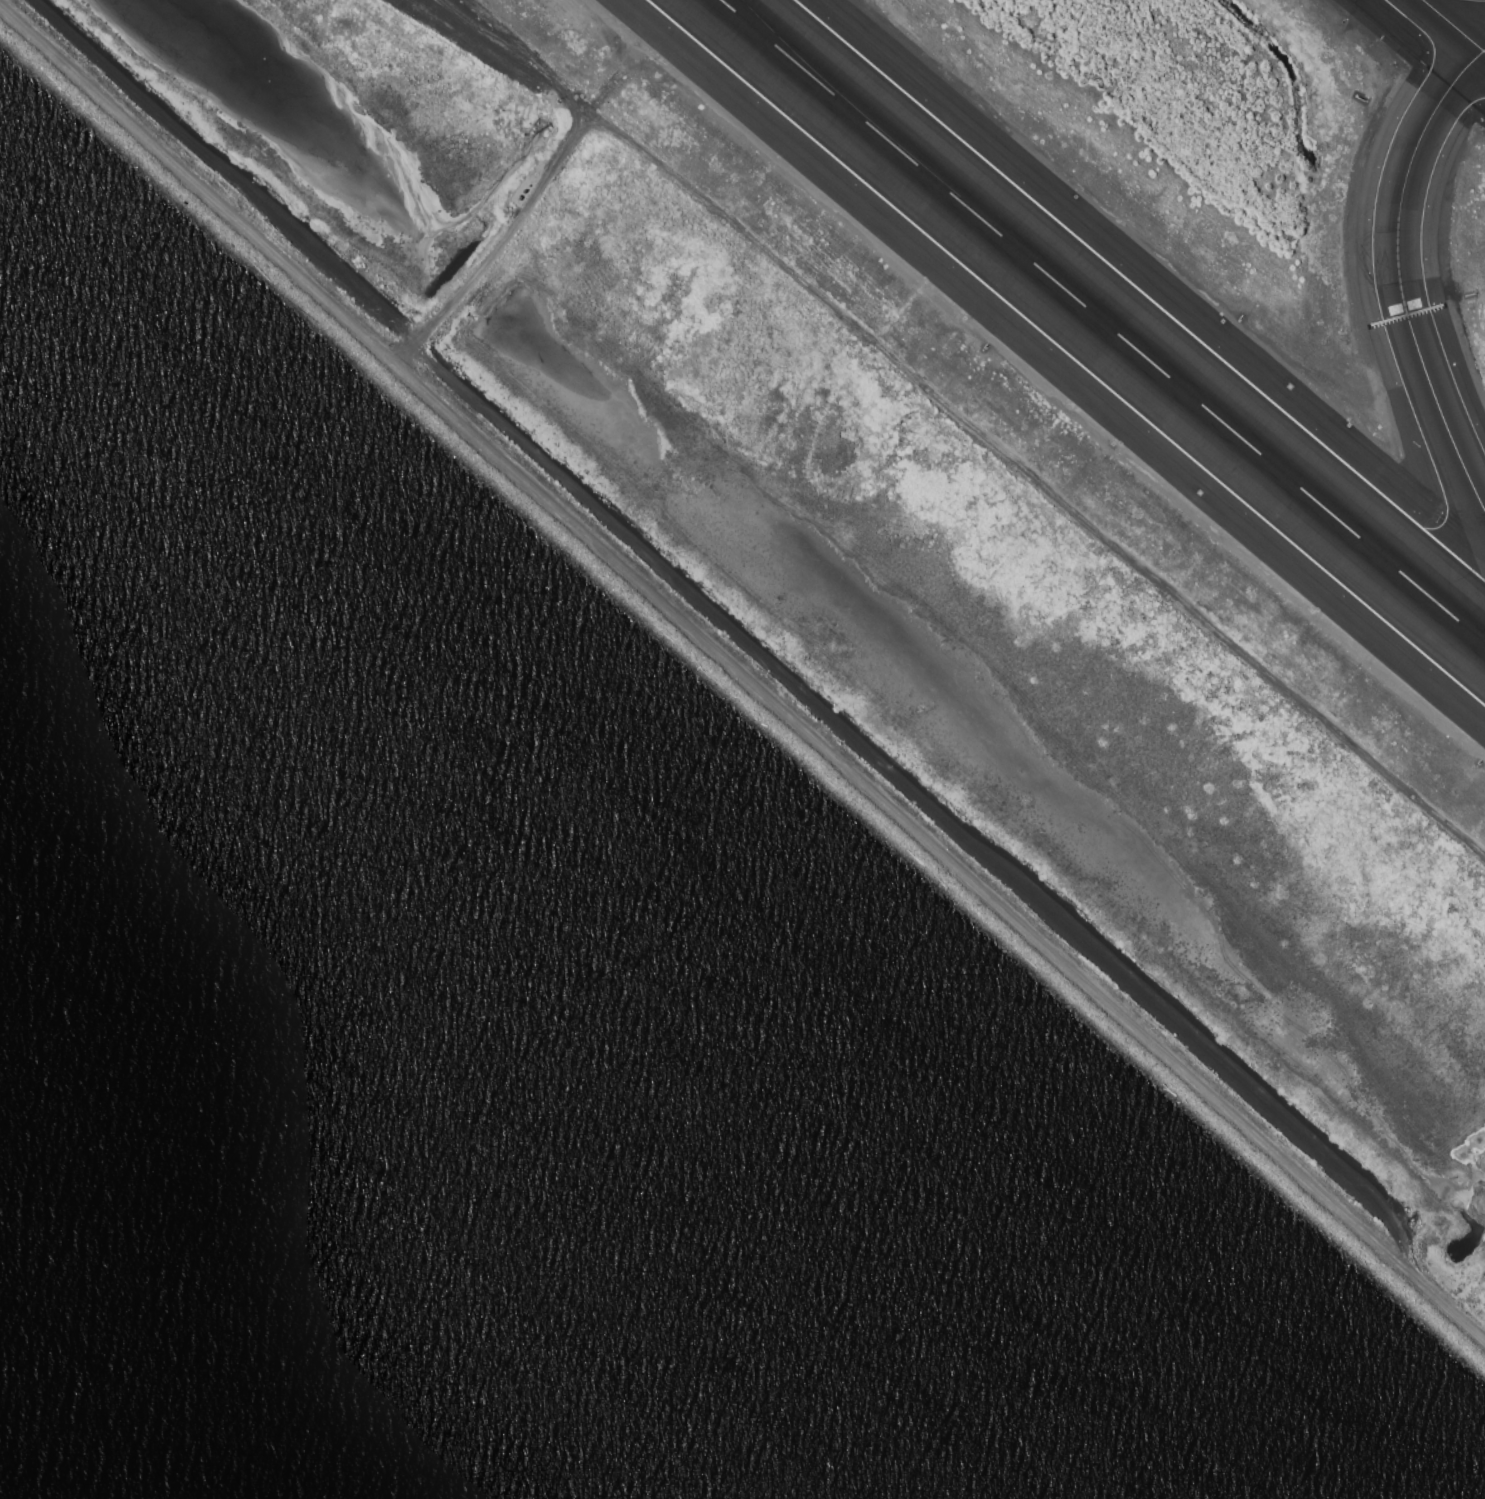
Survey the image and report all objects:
airport taxiway: (1471, 1)
airport taxiway: (1453, 26)
airport taxiway: (1483, 49)
airport taxiway: (797, 55)
airport taxiway: (1399, 276)
airport runway: (1103, 321)
airport: (975, 457)

